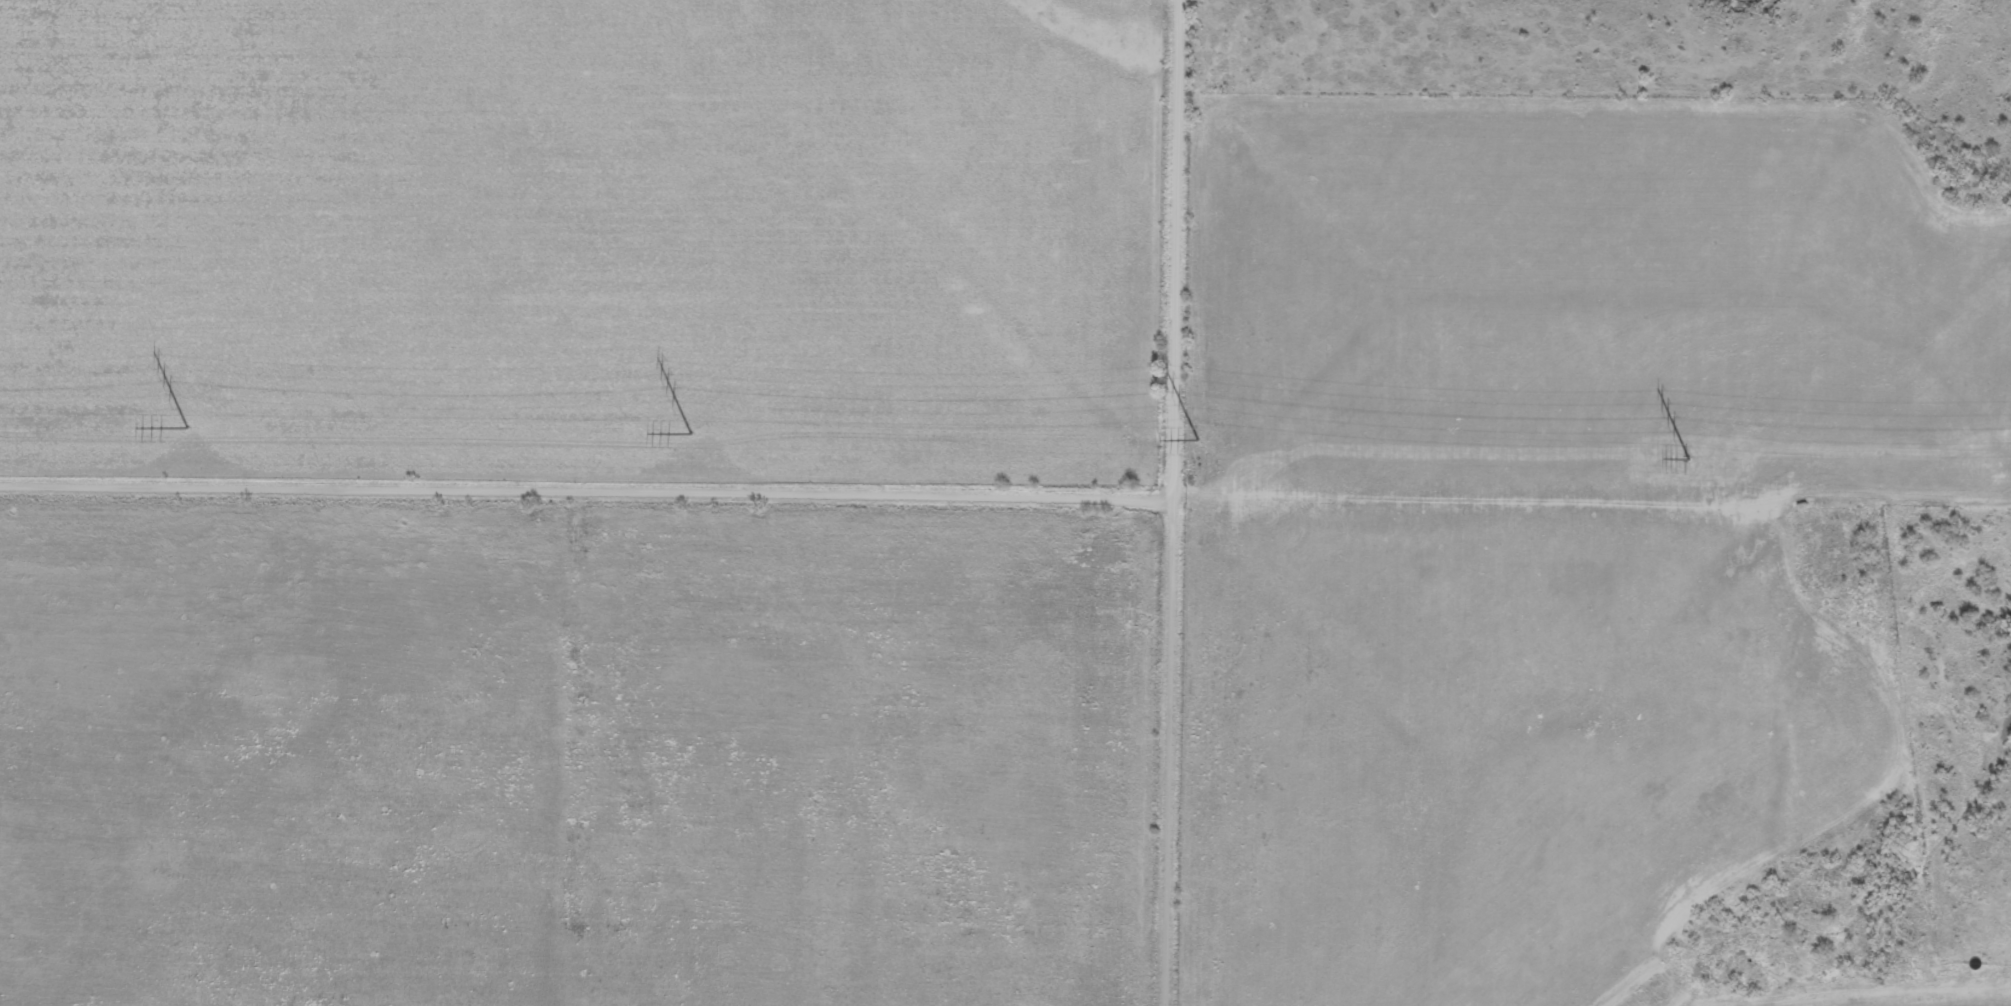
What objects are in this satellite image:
power tower: (186, 428)
power tower: (690, 433)
power tower: (1197, 438)
power tower: (1687, 458)
road: (587, 489)
road: (1175, 503)

